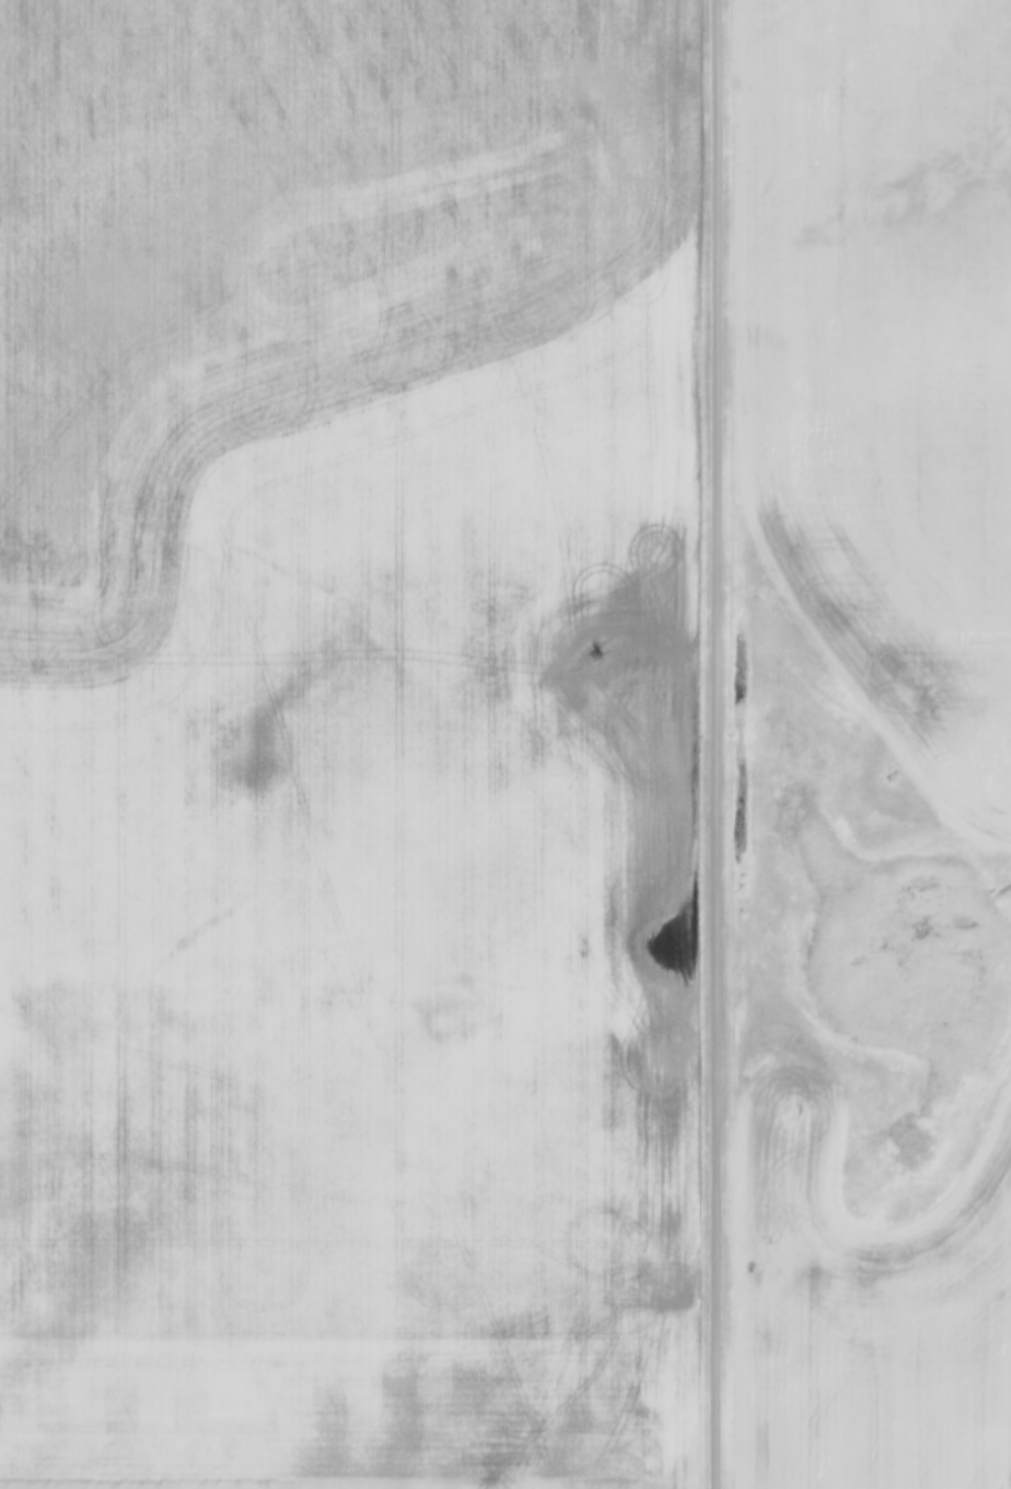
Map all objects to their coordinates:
road: (720, 744)

